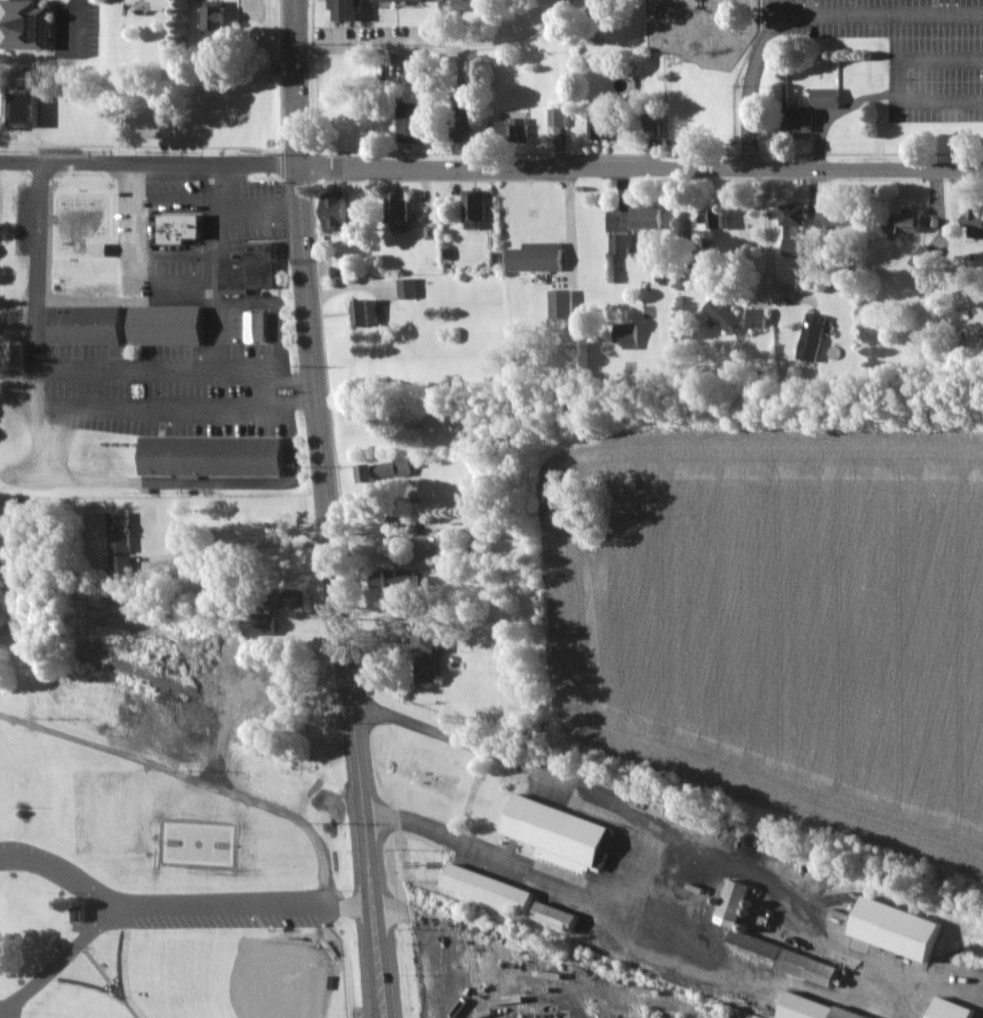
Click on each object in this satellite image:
building: (404, 0)
building: (352, 10)
road: (803, 13)
building: (214, 21)
building: (31, 24)
road: (86, 28)
road: (438, 46)
road: (18, 67)
building: (831, 97)
building: (802, 119)
building: (414, 121)
road: (148, 162)
road: (640, 167)
building: (401, 208)
road: (240, 210)
building: (342, 210)
building: (797, 215)
building: (839, 217)
building: (651, 218)
building: (977, 221)
building: (917, 222)
building: (183, 228)
road: (771, 231)
road: (571, 233)
building: (795, 246)
building: (540, 257)
road: (134, 261)
building: (255, 270)
building: (410, 289)
road: (38, 290)
road: (89, 296)
building: (563, 305)
building: (368, 312)
building: (761, 318)
building: (92, 325)
building: (172, 325)
building: (815, 337)
road: (216, 343)
road: (125, 368)
building: (215, 456)
road: (62, 478)
road: (328, 509)
building: (405, 520)
road: (247, 543)
building: (453, 546)
building: (431, 654)
road: (195, 778)
building: (566, 835)
road: (653, 843)
park: (196, 844)
road: (64, 876)
park: (169, 880)
building: (492, 889)
road: (168, 905)
building: (559, 916)
building: (720, 931)
building: (913, 932)
road: (521, 994)
building: (816, 1009)

